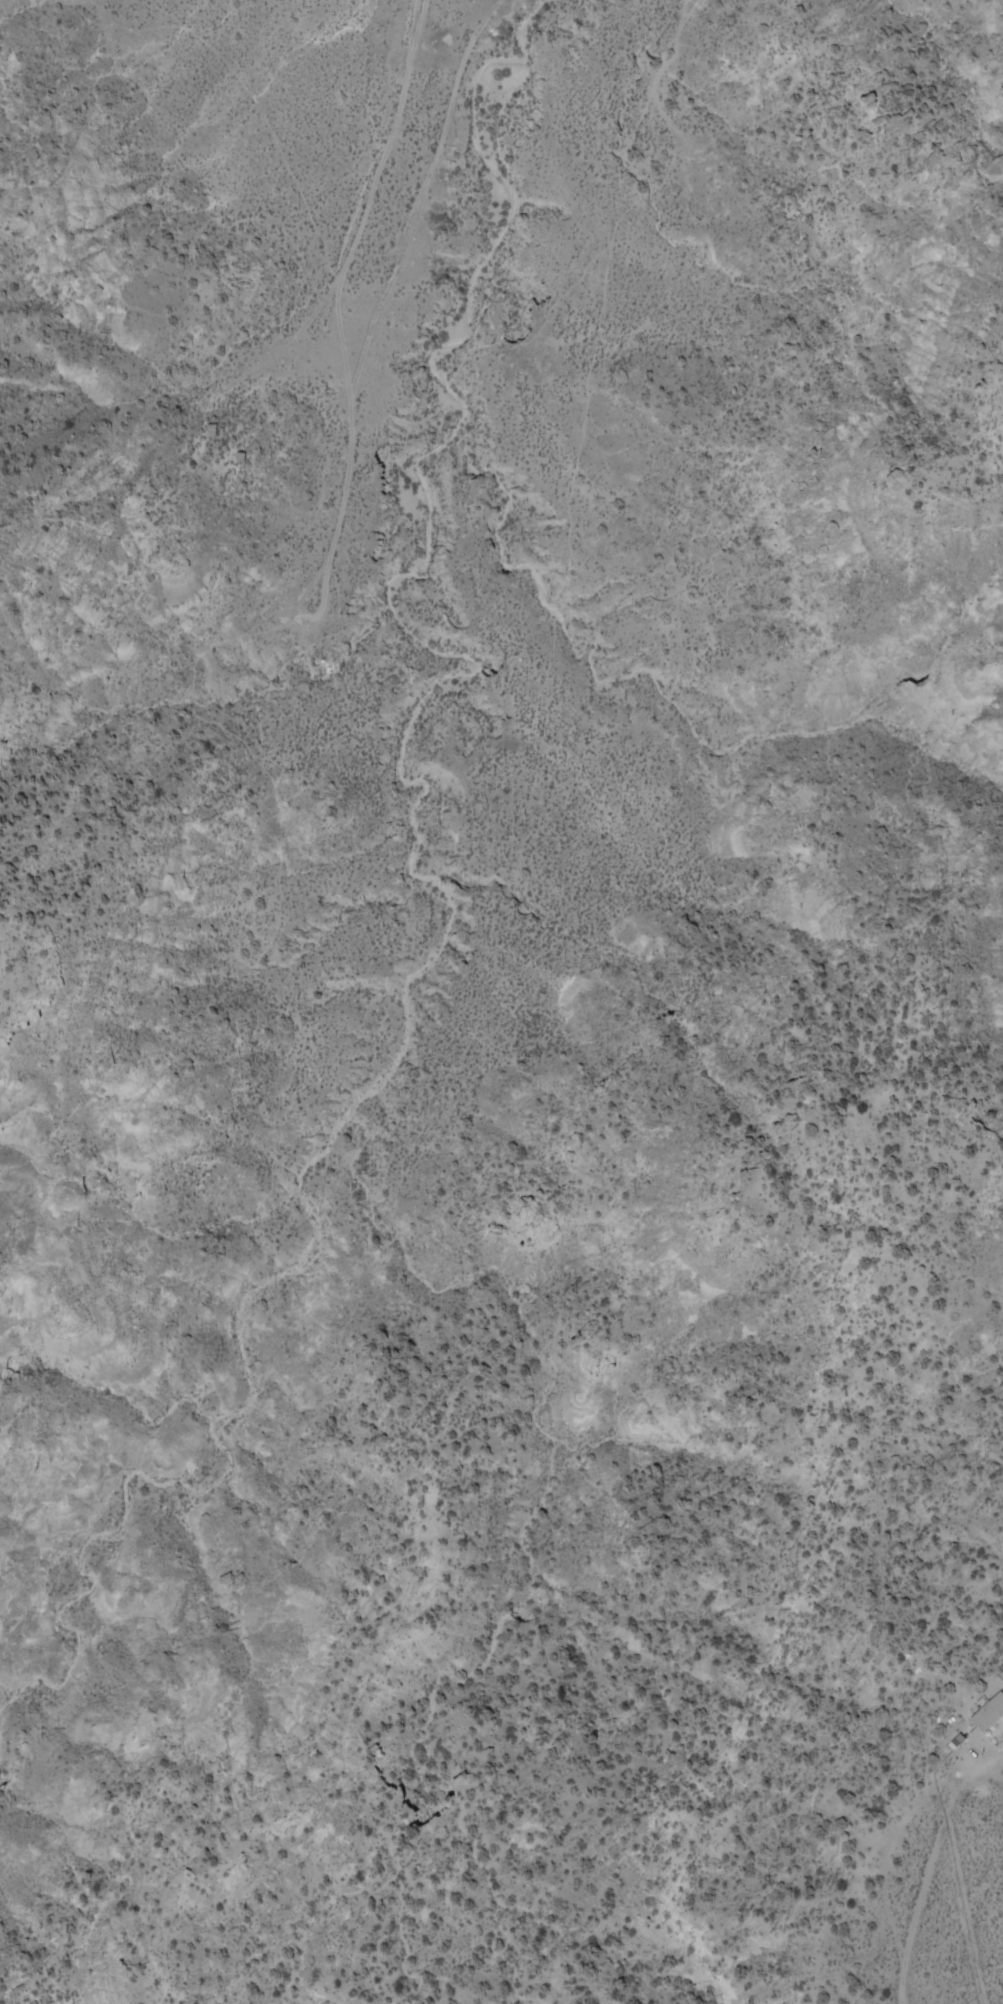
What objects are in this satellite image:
building: (990, 1713)
road: (978, 1918)

